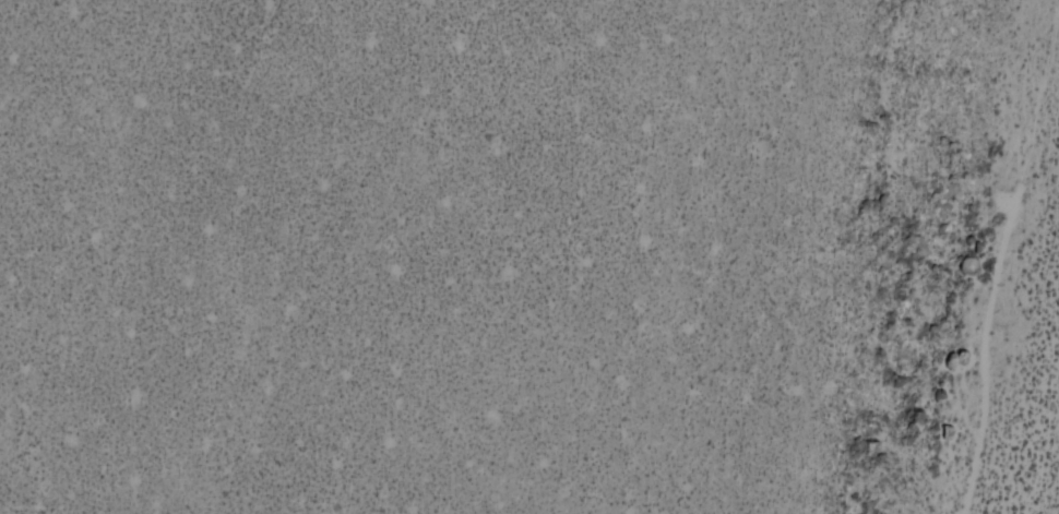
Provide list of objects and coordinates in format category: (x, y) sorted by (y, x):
road: (1010, 294)

